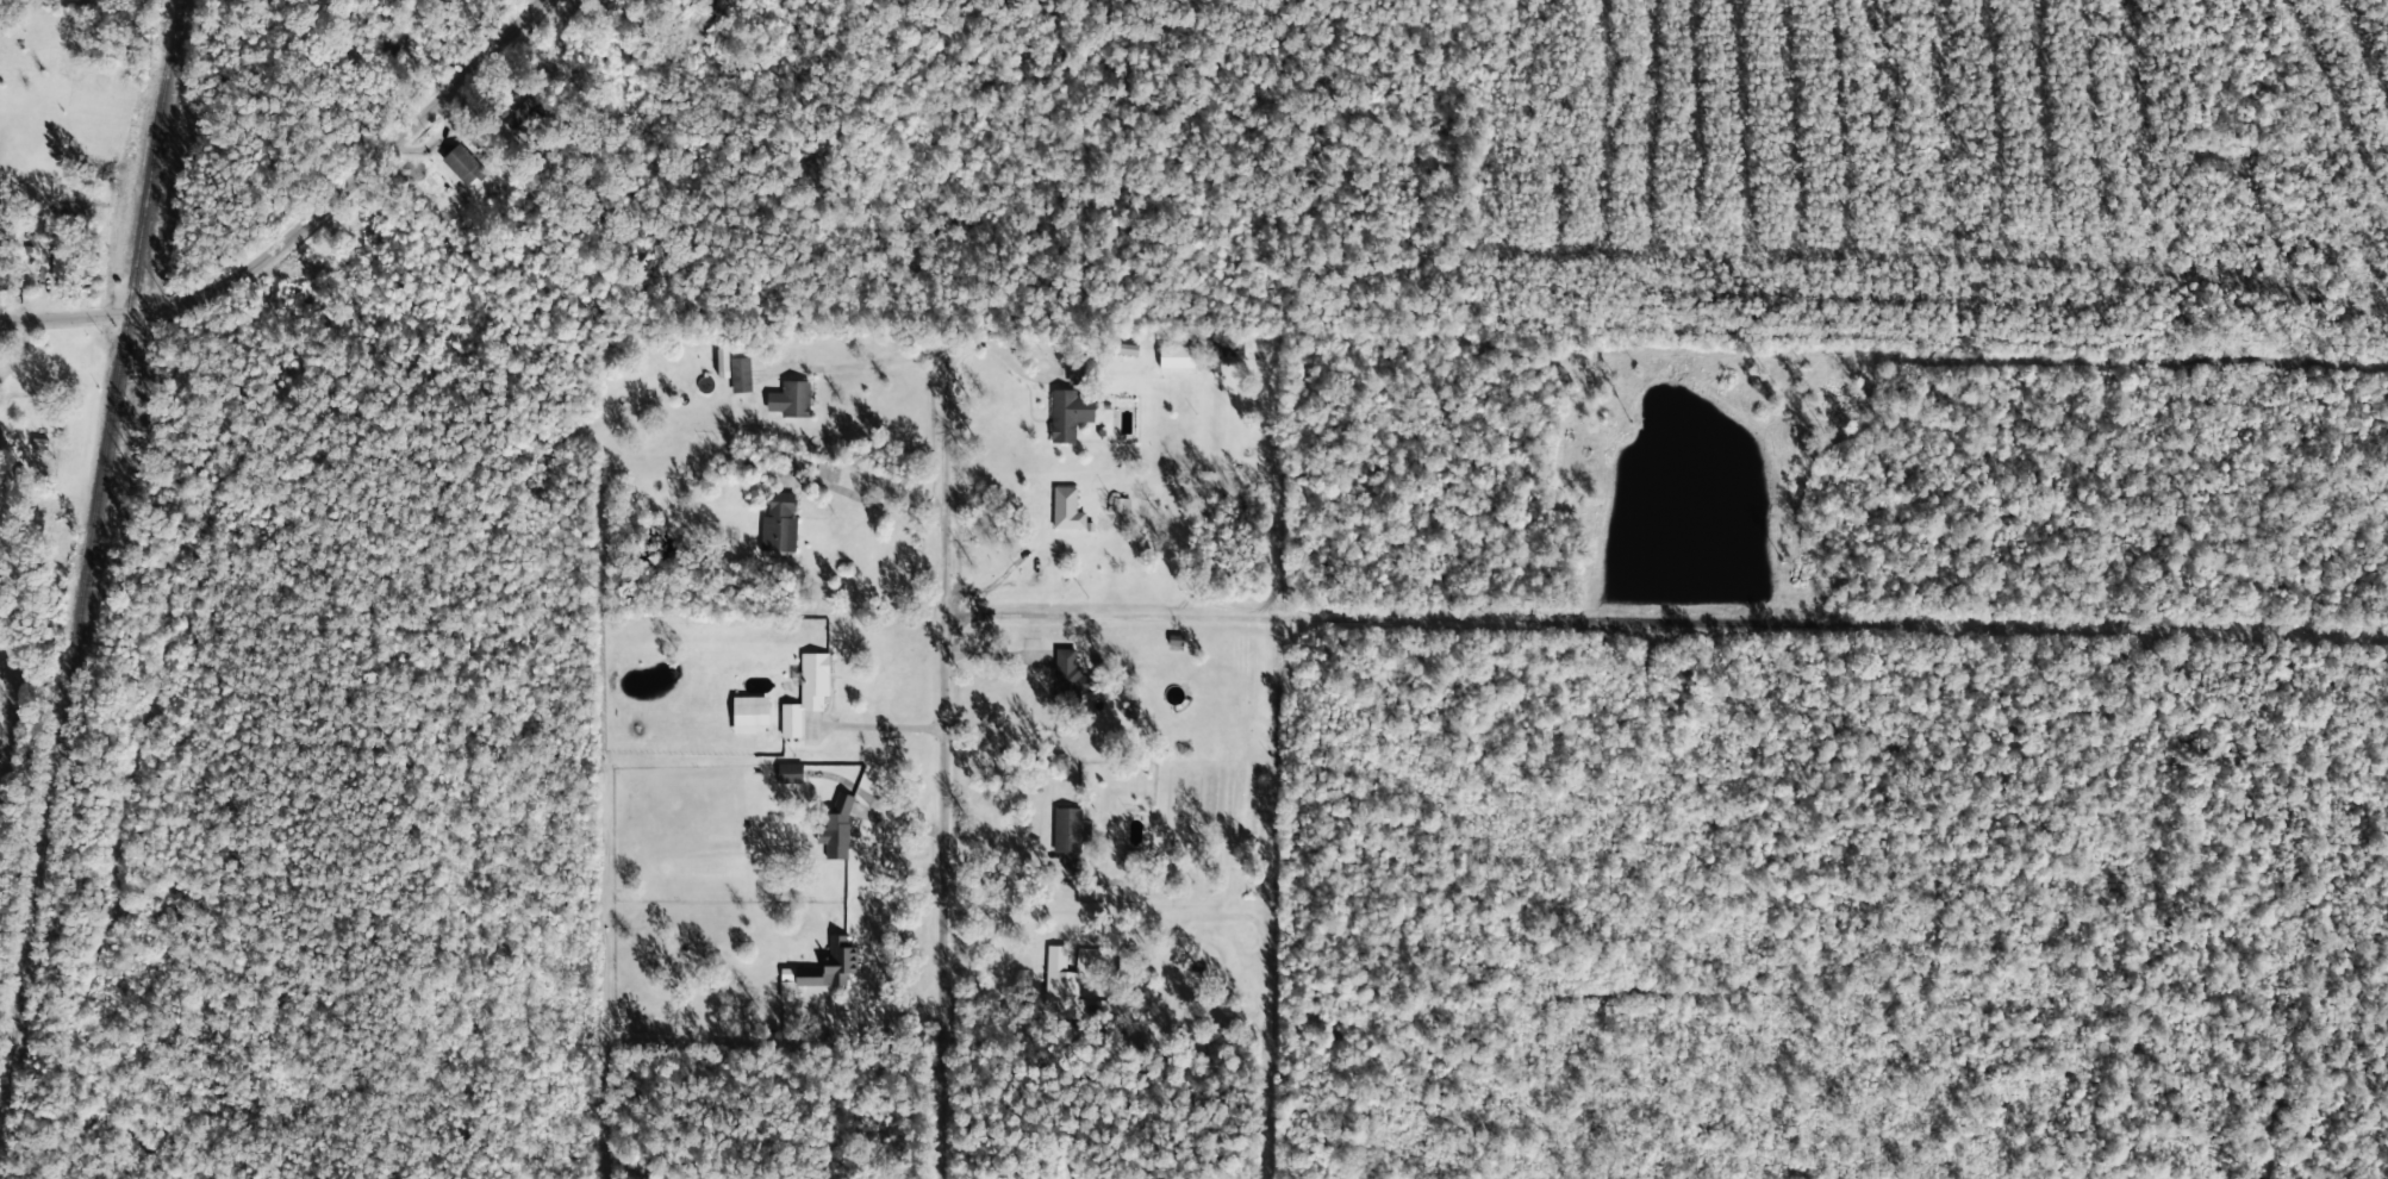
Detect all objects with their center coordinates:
road: (548, 92)
building: (461, 164)
road: (299, 238)
building: (1, 260)
building: (1176, 356)
building: (722, 357)
building: (740, 373)
building: (1075, 374)
building: (790, 397)
building: (1068, 412)
building: (0, 441)
building: (1066, 507)
building: (779, 522)
railway: (87, 544)
building: (1071, 672)
road: (975, 678)
building: (806, 690)
building: (749, 712)
building: (790, 772)
building: (837, 826)
building: (1068, 834)
road: (969, 948)
building: (819, 969)
building: (1060, 981)

